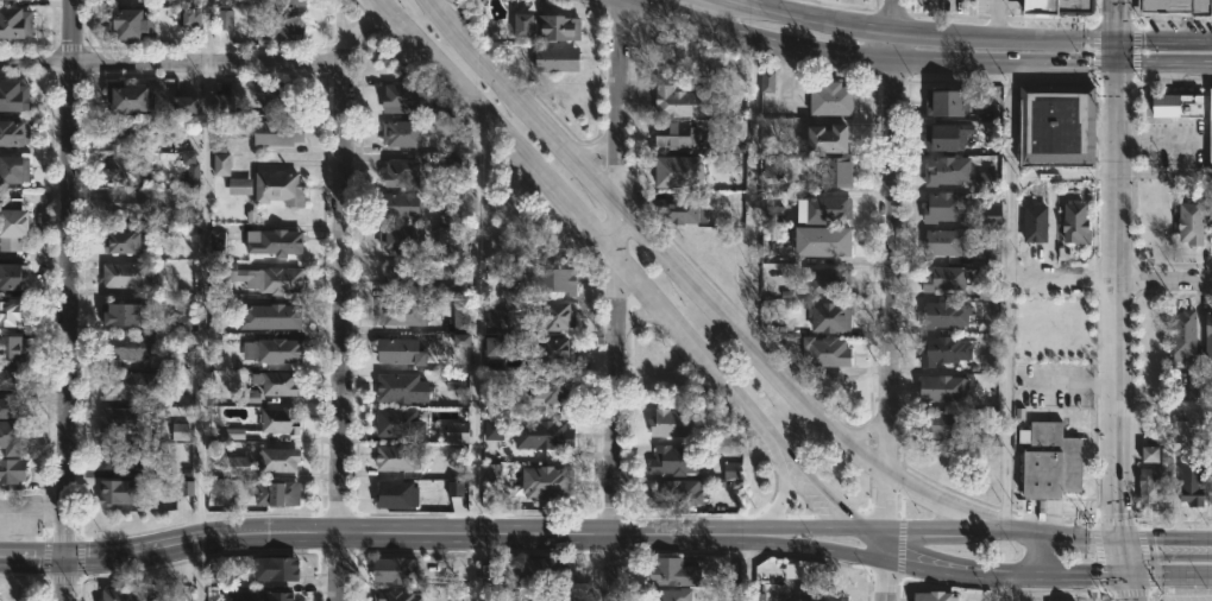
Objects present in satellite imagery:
building: (30, 0)
building: (144, 0)
building: (252, 1)
building: (287, 1)
building: (227, 2)
road: (753, 2)
building: (1062, 6)
building: (1179, 6)
building: (187, 15)
road: (893, 17)
road: (811, 19)
road: (994, 19)
building: (224, 20)
road: (338, 20)
road: (360, 20)
road: (1116, 21)
building: (14, 23)
building: (131, 24)
building: (550, 26)
building: (277, 27)
road: (205, 30)
road: (758, 38)
road: (1004, 39)
traffic signals: (1116, 43)
road: (1163, 43)
road: (893, 48)
road: (1116, 53)
building: (557, 58)
road: (171, 61)
road: (1004, 65)
traffic signals: (1116, 65)
road: (1163, 65)
building: (767, 82)
building: (278, 95)
building: (14, 96)
building: (126, 97)
building: (398, 97)
building: (831, 99)
building: (981, 101)
building: (685, 102)
building: (946, 102)
building: (1179, 103)
building: (186, 105)
building: (221, 105)
building: (1057, 125)
building: (1210, 128)
building: (13, 131)
building: (130, 133)
building: (277, 133)
building: (402, 133)
building: (676, 134)
building: (947, 137)
building: (829, 139)
building: (218, 141)
road: (1158, 141)
building: (737, 144)
road: (594, 150)
road: (525, 159)
building: (189, 160)
building: (221, 164)
building: (452, 164)
building: (771, 167)
building: (13, 169)
building: (127, 169)
building: (836, 170)
building: (680, 171)
building: (947, 171)
road: (1163, 172)
building: (402, 173)
building: (987, 181)
building: (239, 186)
building: (280, 188)
road: (752, 190)
building: (128, 203)
building: (400, 205)
building: (947, 207)
building: (830, 208)
building: (682, 210)
building: (773, 215)
building: (990, 215)
building: (1035, 223)
building: (1076, 223)
building: (1192, 223)
building: (12, 224)
building: (402, 239)
building: (1211, 240)
building: (215, 241)
building: (825, 241)
building: (944, 241)
building: (127, 242)
building: (276, 242)
building: (992, 251)
building: (11, 276)
building: (125, 276)
building: (403, 277)
road: (1062, 277)
road: (1163, 277)
road: (68, 278)
building: (265, 278)
building: (944, 278)
building: (828, 279)
building: (555, 280)
road: (695, 290)
building: (984, 291)
road: (1009, 298)
road: (201, 299)
road: (614, 299)
road: (1116, 303)
building: (12, 312)
road: (641, 312)
road: (892, 312)
building: (402, 314)
building: (123, 315)
building: (277, 316)
building: (558, 316)
building: (460, 317)
building: (497, 317)
building: (830, 317)
building: (957, 320)
building: (183, 321)
road: (344, 321)
building: (1185, 334)
building: (1208, 337)
building: (461, 340)
building: (124, 347)
building: (495, 347)
building: (272, 350)
building: (557, 350)
building: (12, 352)
building: (402, 352)
building: (825, 352)
building: (946, 352)
road: (475, 356)
building: (831, 378)
building: (11, 380)
building: (276, 384)
building: (128, 385)
building: (456, 386)
building: (1193, 387)
building: (400, 388)
building: (943, 388)
building: (555, 390)
road: (729, 394)
road: (1164, 406)
building: (10, 409)
building: (123, 419)
building: (280, 420)
building: (400, 423)
building: (674, 423)
building: (942, 425)
building: (497, 429)
building: (457, 430)
building: (180, 431)
building: (1180, 431)
building: (231, 434)
building: (542, 435)
building: (12, 438)
building: (1149, 454)
building: (123, 457)
building: (278, 460)
building: (401, 461)
building: (676, 461)
building: (1053, 462)
building: (234, 466)
building: (12, 470)
building: (731, 470)
building: (491, 473)
building: (547, 482)
building: (1192, 482)
building: (1154, 485)
building: (186, 488)
building: (454, 489)
building: (118, 492)
building: (274, 492)
road: (812, 492)
building: (677, 493)
building: (395, 495)
road: (783, 506)
road: (31, 512)
road: (844, 523)
road: (803, 526)
road: (488, 531)
road: (984, 531)
road: (1163, 539)
traffic signals: (1116, 540)
road: (871, 545)
road: (1117, 549)
road: (143, 550)
road: (821, 552)
road: (1043, 553)
road: (32, 558)
traffic signals: (65, 558)
road: (745, 568)
building: (277, 569)
road: (194, 570)
building: (395, 570)
building: (793, 570)
road: (1005, 570)
road: (1167, 570)
building: (548, 571)
traffic signals: (1123, 571)
building: (673, 572)
road: (63, 578)
road: (1124, 578)
road: (887, 582)
road: (1001, 586)
building: (671, 594)
building: (119, 595)
building: (274, 596)
building: (397, 596)
building: (935, 596)
building: (551, 597)
building: (822, 597)

